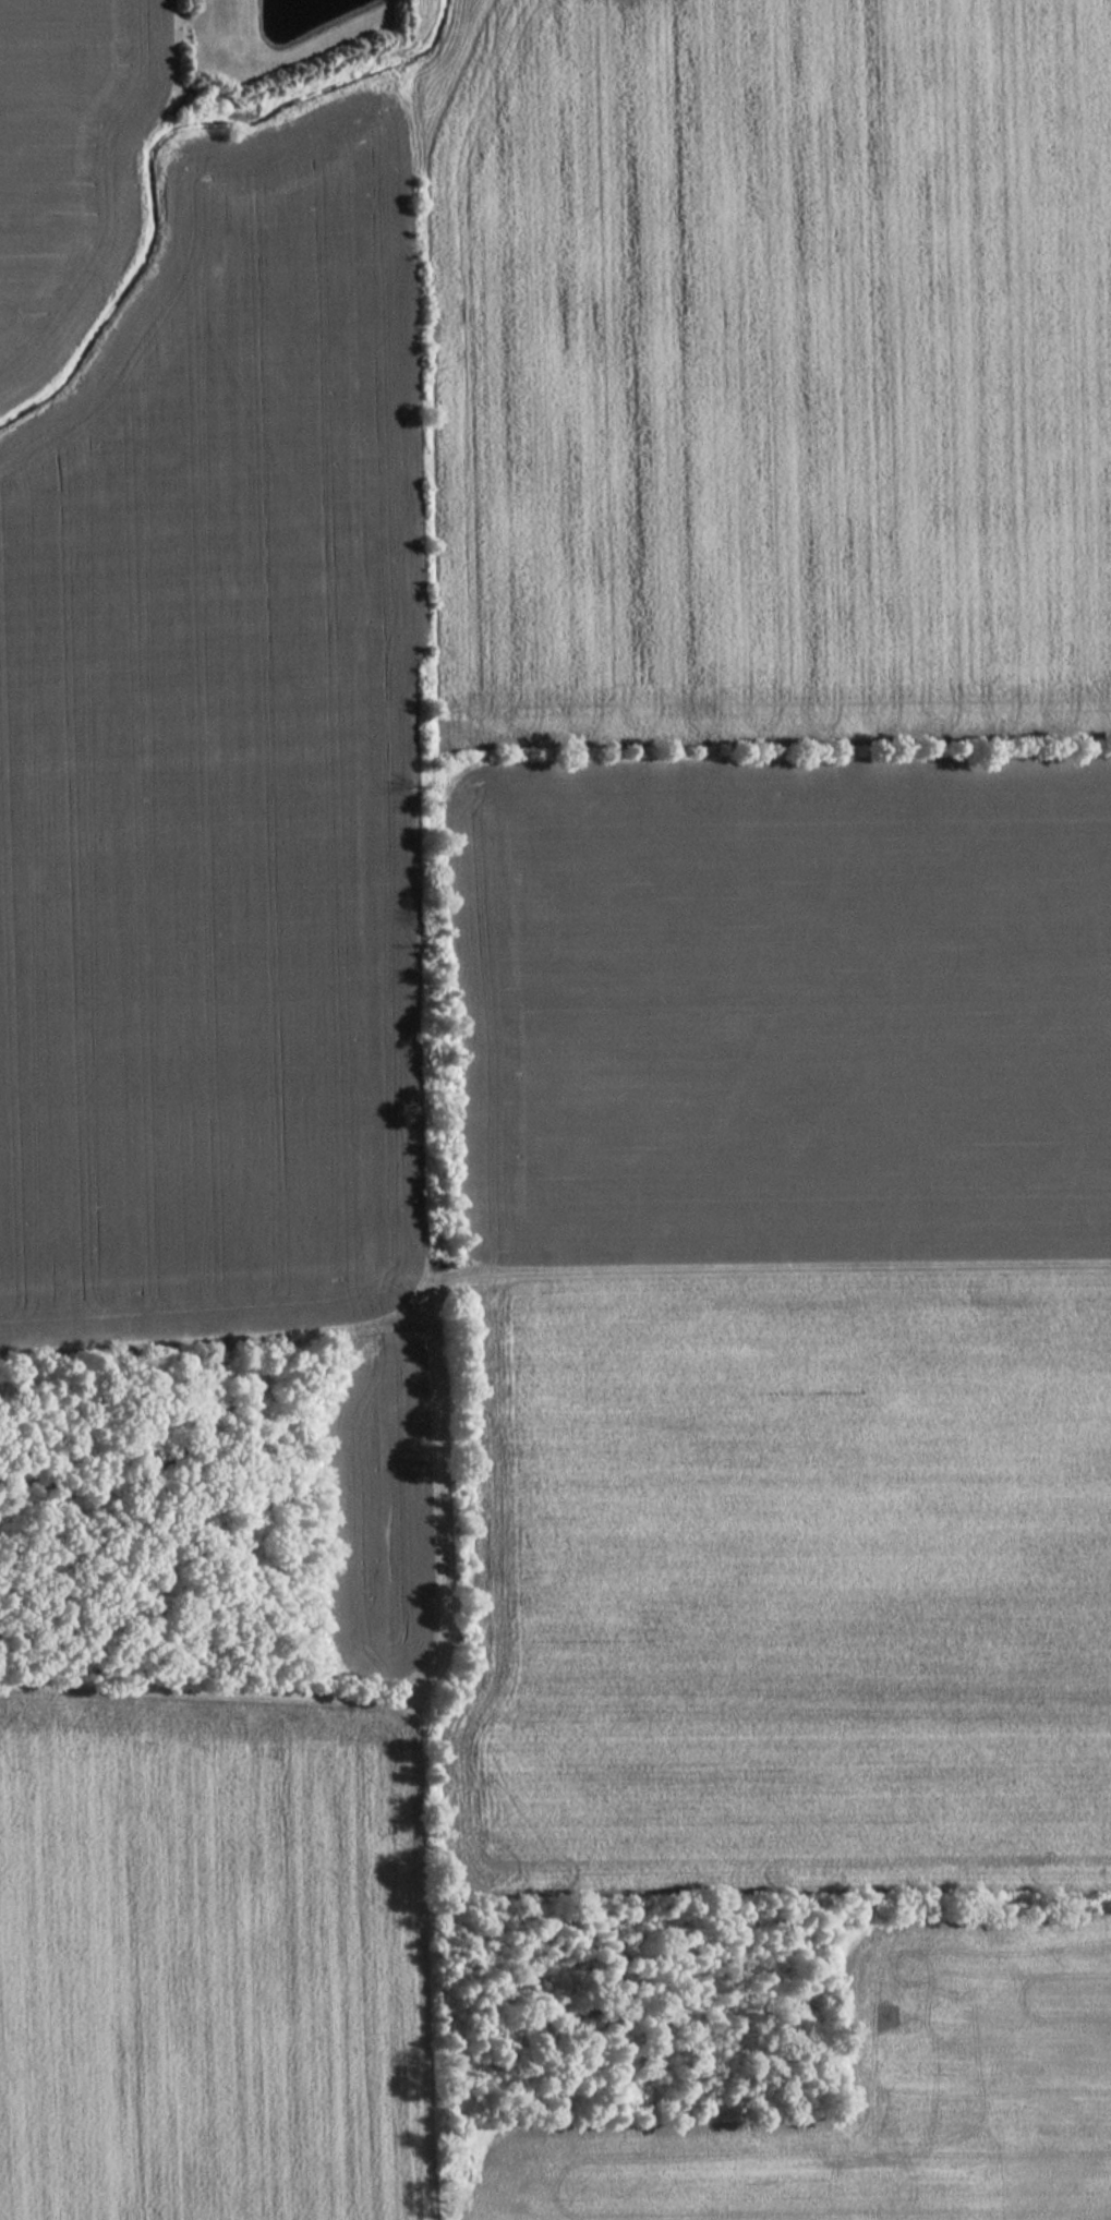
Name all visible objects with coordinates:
crop: (69, 149)
crop: (770, 374)
crop: (220, 843)
crop: (786, 1320)
crop: (201, 1964)
crop: (880, 2099)

